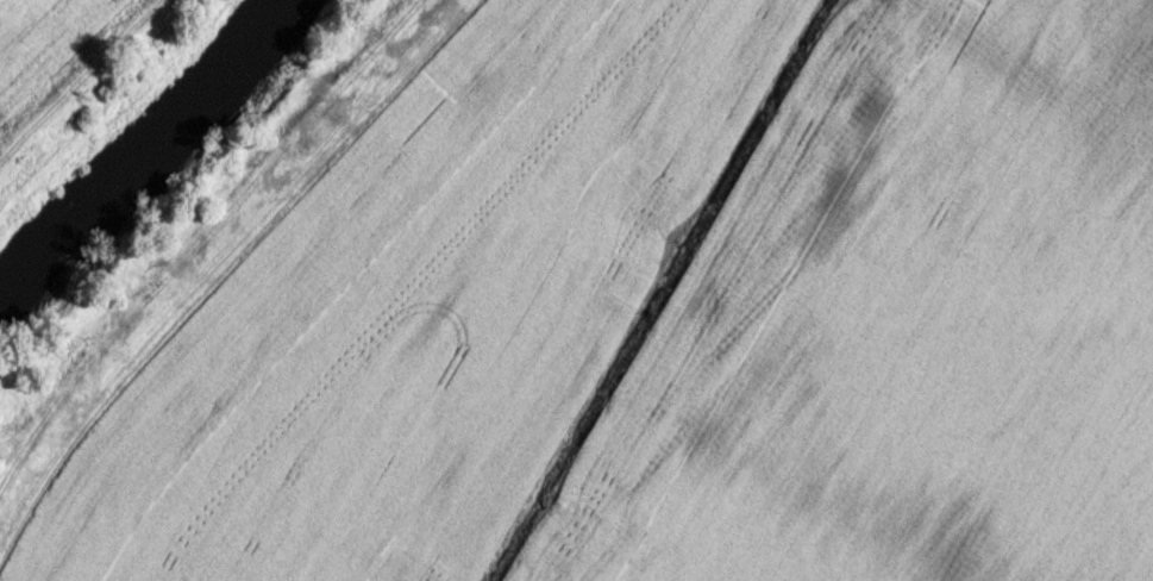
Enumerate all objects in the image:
river: (150, 148)

